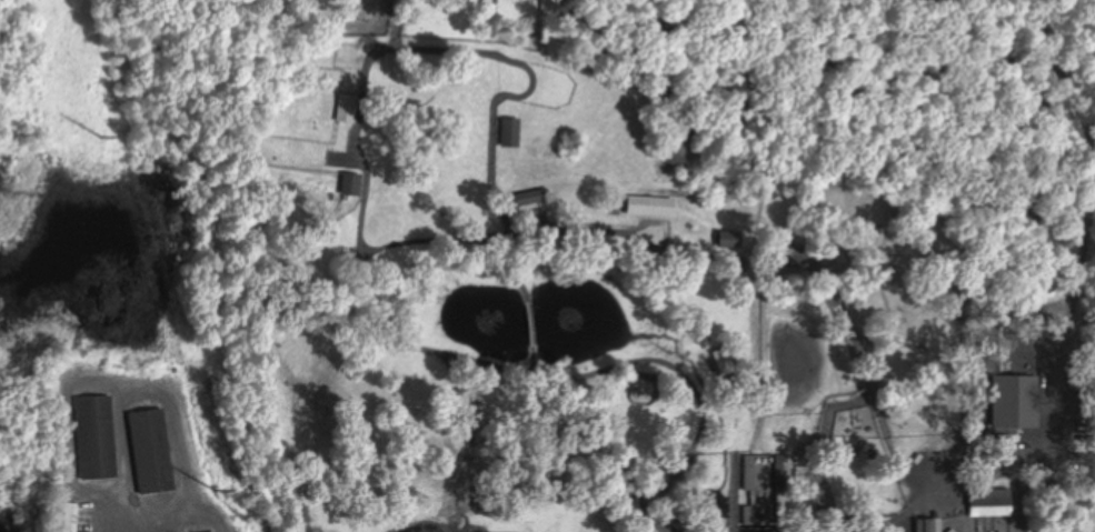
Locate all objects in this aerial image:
building: (510, 133)
power tower: (101, 137)
building: (350, 185)
building: (527, 200)
building: (649, 208)
building: (727, 241)
building: (94, 439)
building: (150, 453)
building: (748, 473)
power tower: (216, 490)
building: (987, 499)
building: (69, 518)
building: (749, 520)
building: (927, 525)

